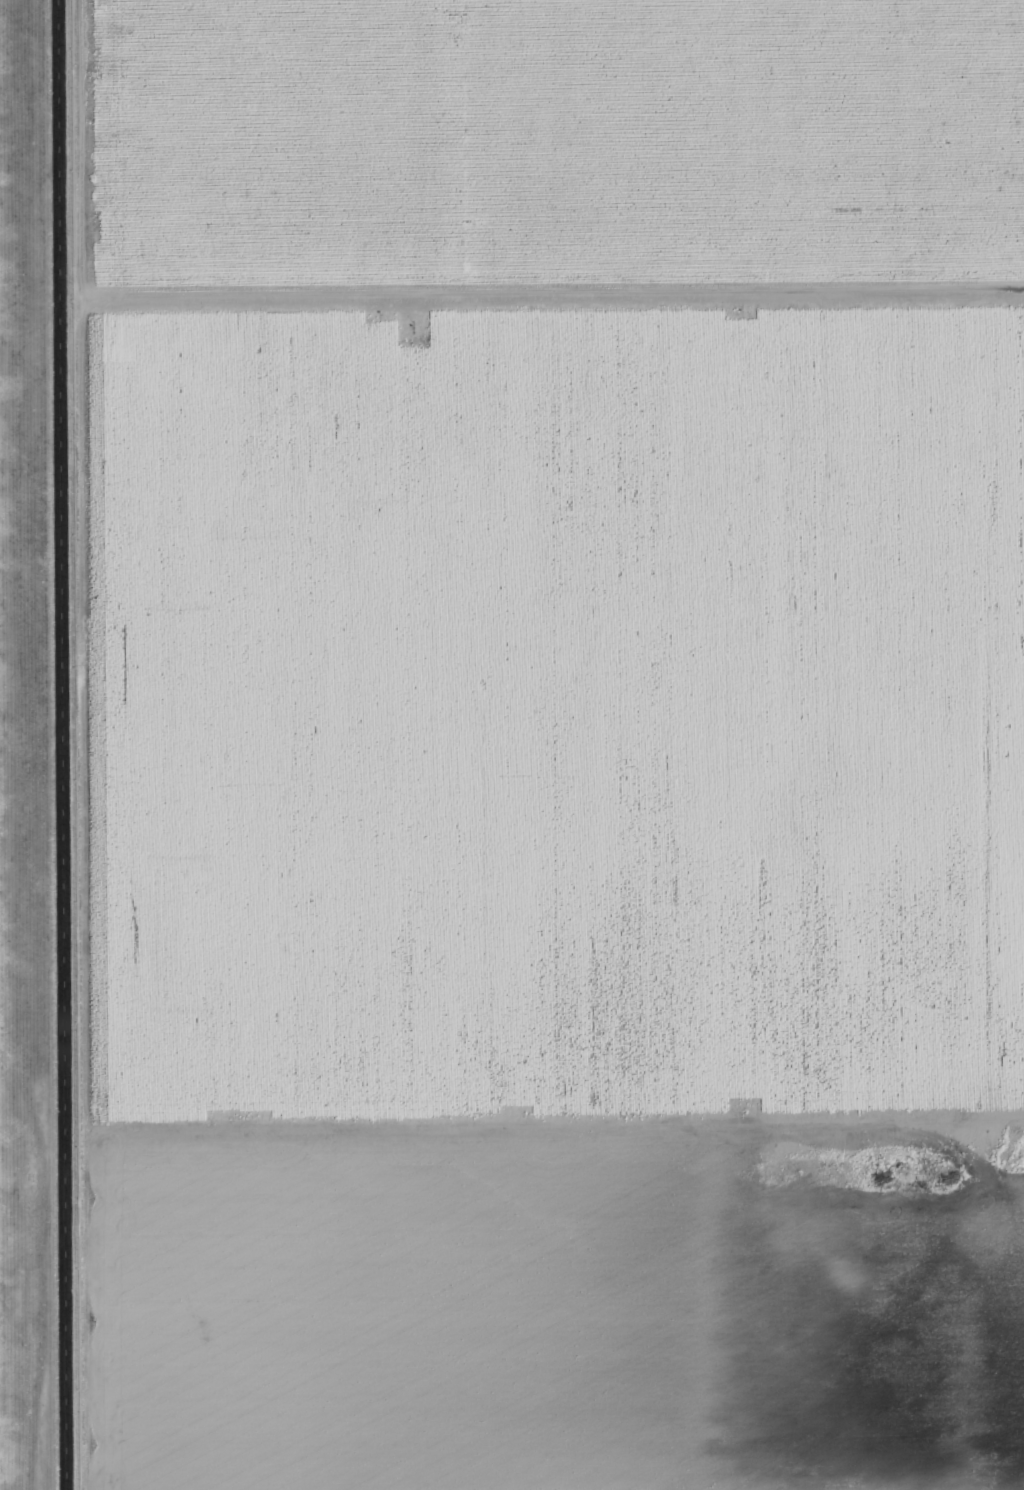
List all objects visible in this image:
road: (551, 297)
road: (61, 745)
airport: (35, 758)
road: (555, 1126)

